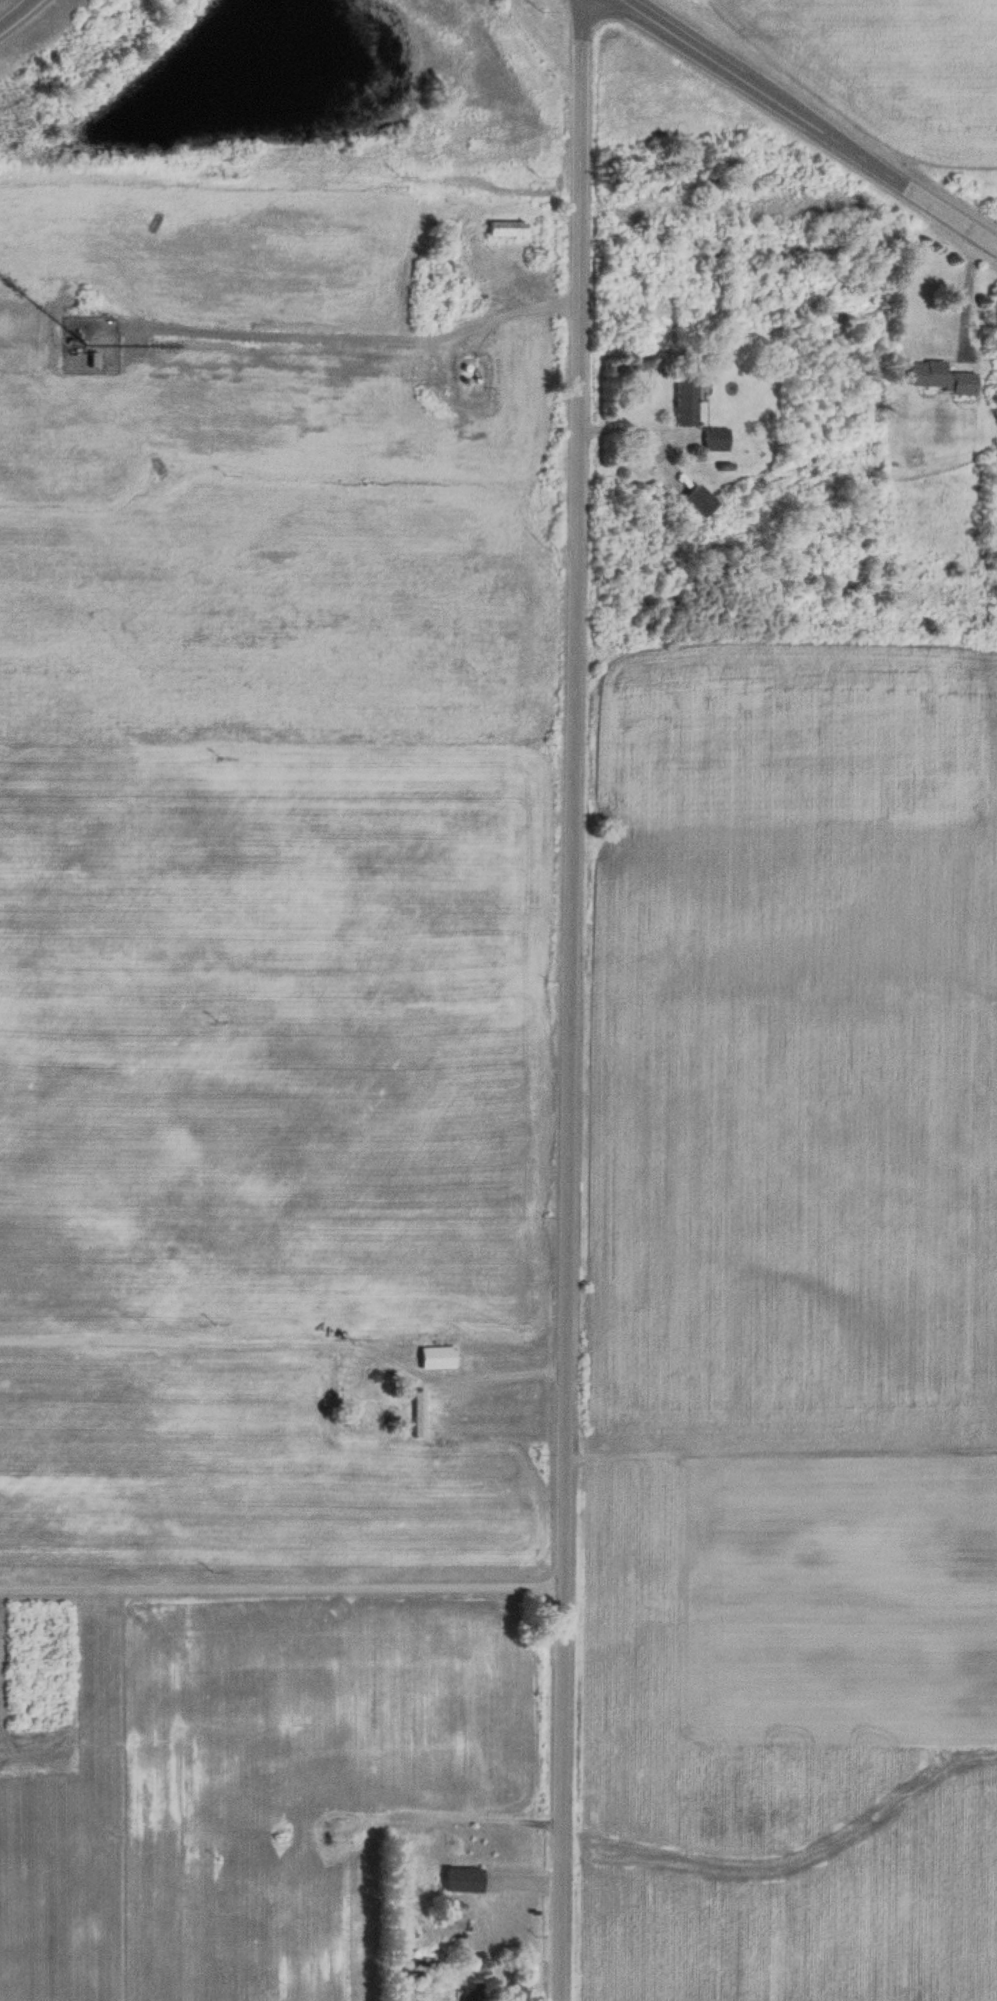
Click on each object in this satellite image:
road: (15, 13)
road: (807, 120)
building: (503, 228)
building: (91, 361)
building: (473, 372)
building: (938, 378)
building: (684, 400)
building: (714, 439)
building: (697, 501)
road: (552, 1000)
building: (435, 1359)
road: (771, 1439)
road: (271, 1569)
building: (460, 1880)
building: (420, 1967)
building: (469, 1997)

